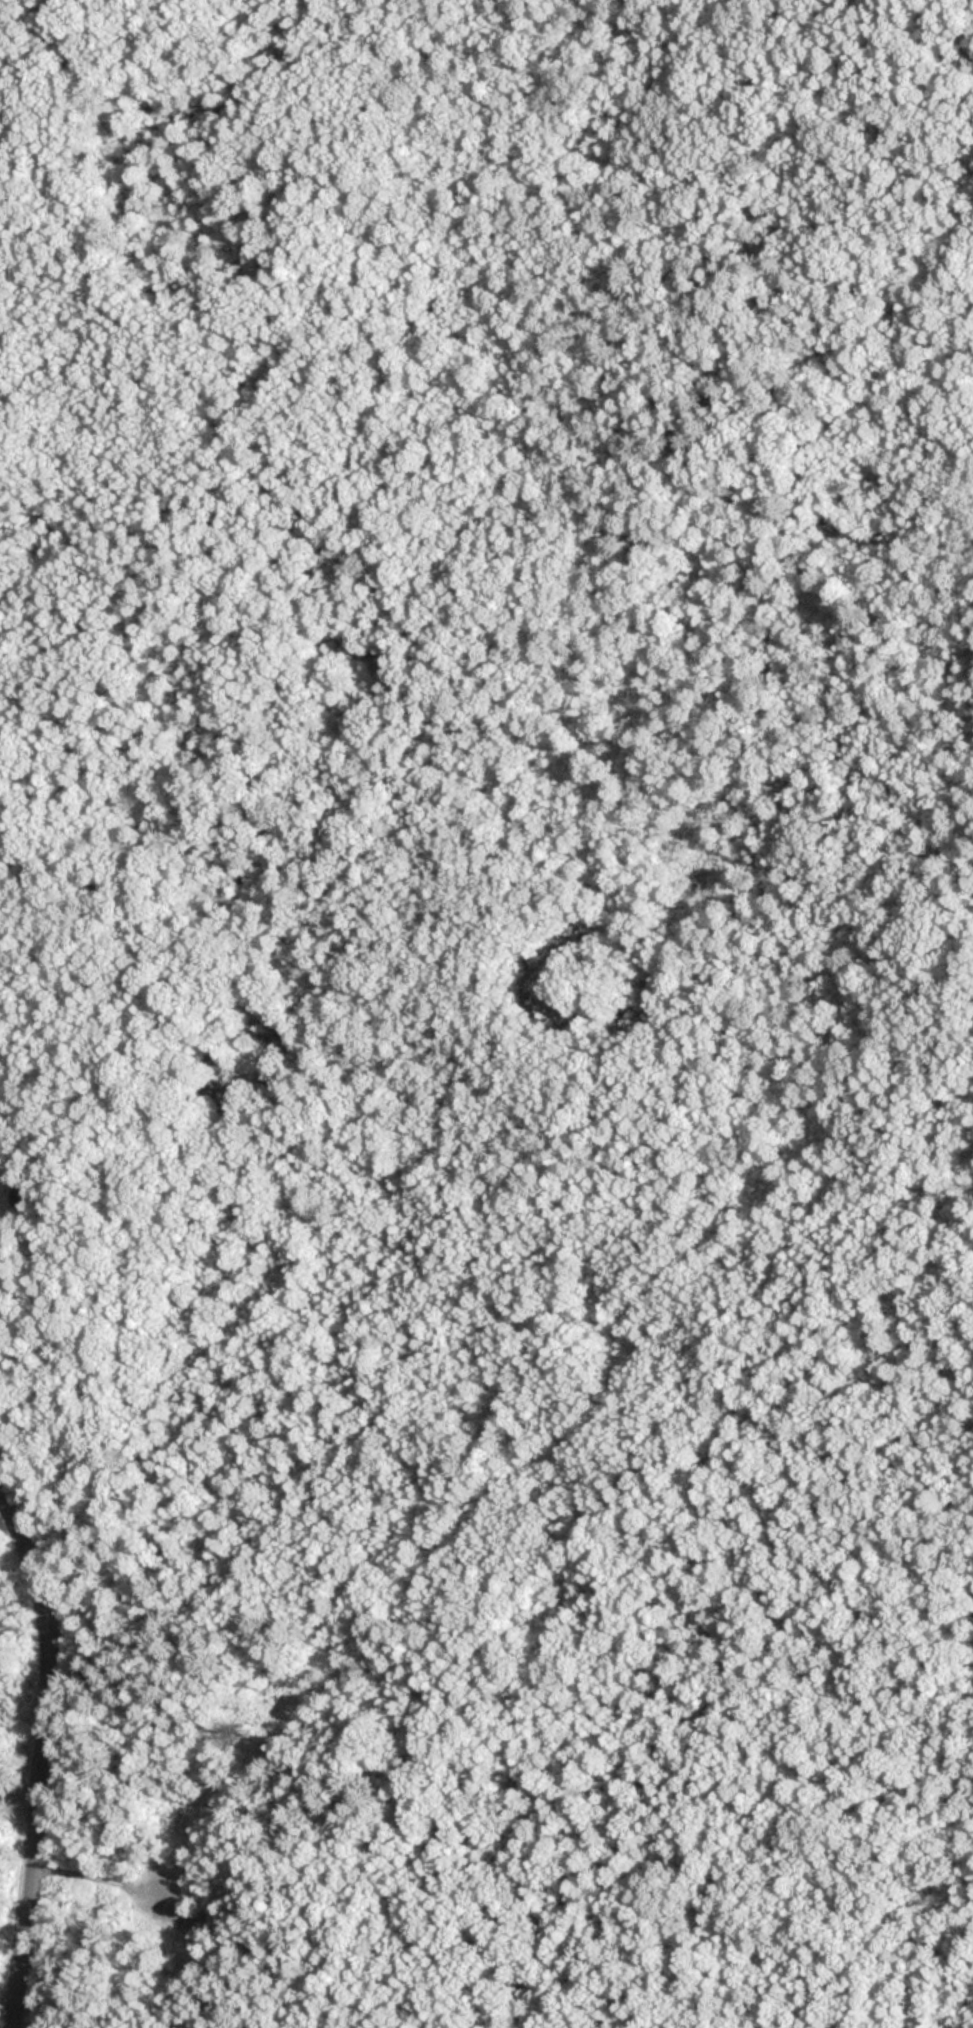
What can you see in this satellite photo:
park: (494, 1017)
road: (42, 1756)

